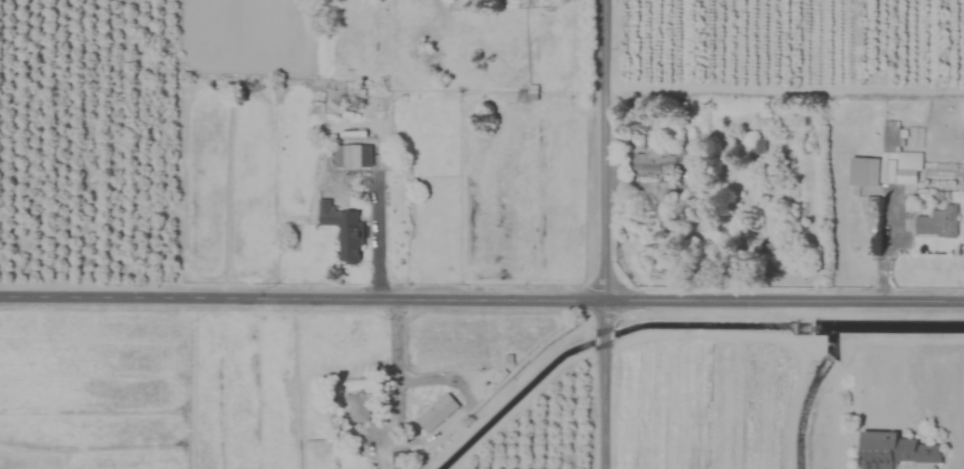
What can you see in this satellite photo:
building: (767, 108)
building: (757, 146)
building: (351, 156)
building: (788, 158)
building: (654, 163)
building: (887, 164)
building: (938, 224)
building: (342, 233)
road: (601, 234)
road: (374, 239)
road: (481, 299)
road: (393, 385)
road: (507, 389)
road: (467, 406)
building: (357, 408)
building: (436, 413)
building: (894, 450)

